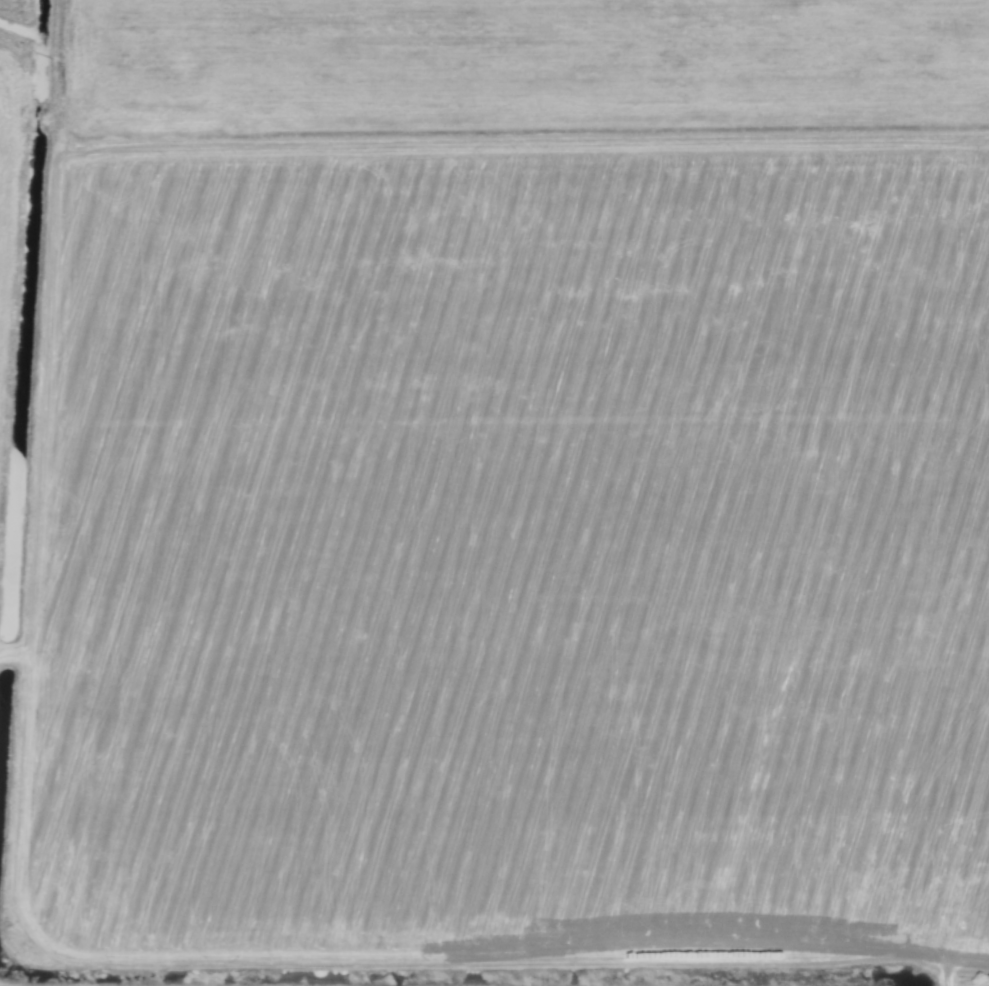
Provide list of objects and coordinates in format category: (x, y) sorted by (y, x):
crop: (15, 239)

